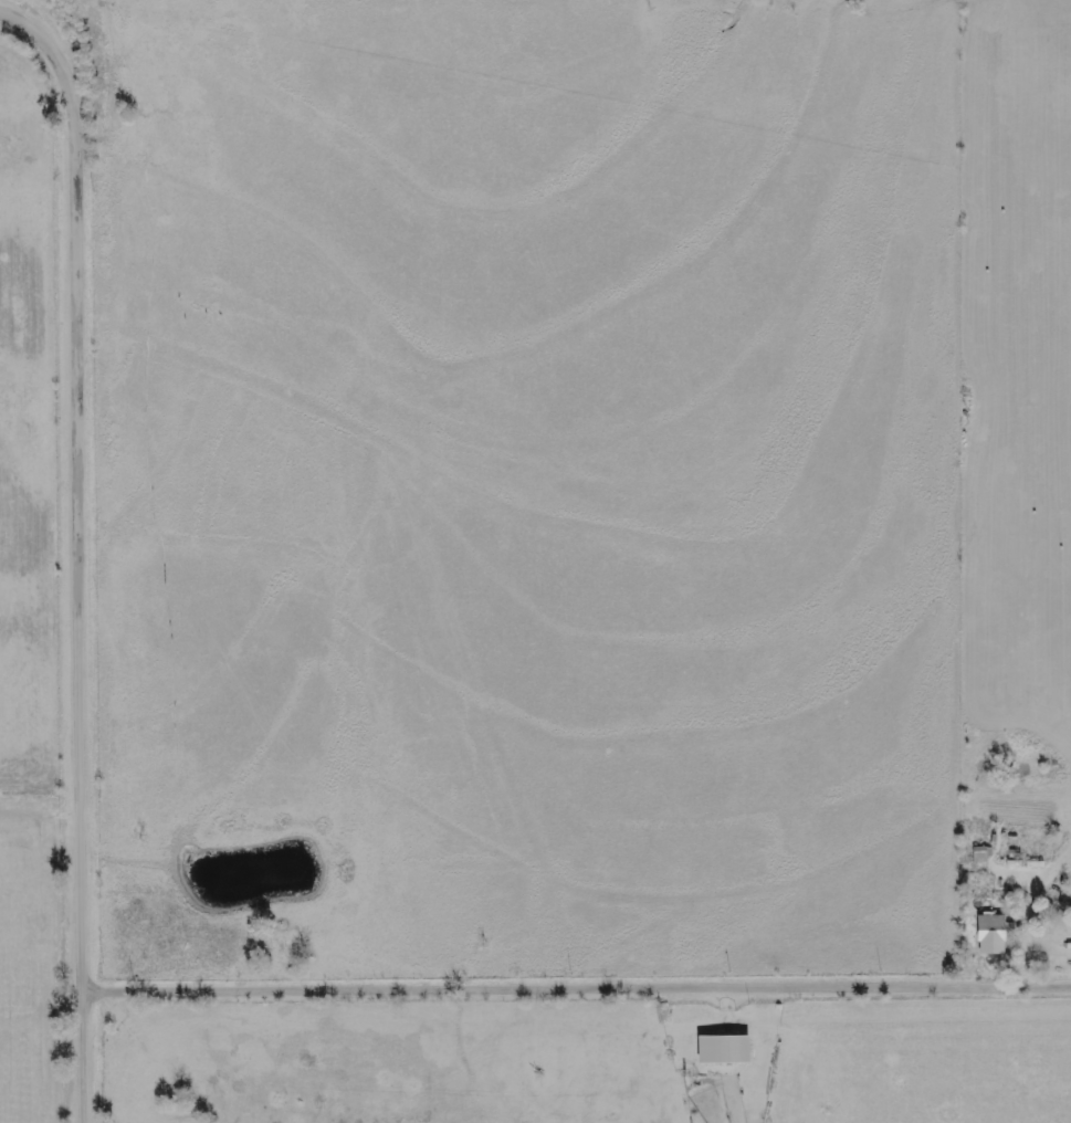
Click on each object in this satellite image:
road: (87, 552)
building: (993, 930)
road: (580, 993)
building: (724, 1049)

